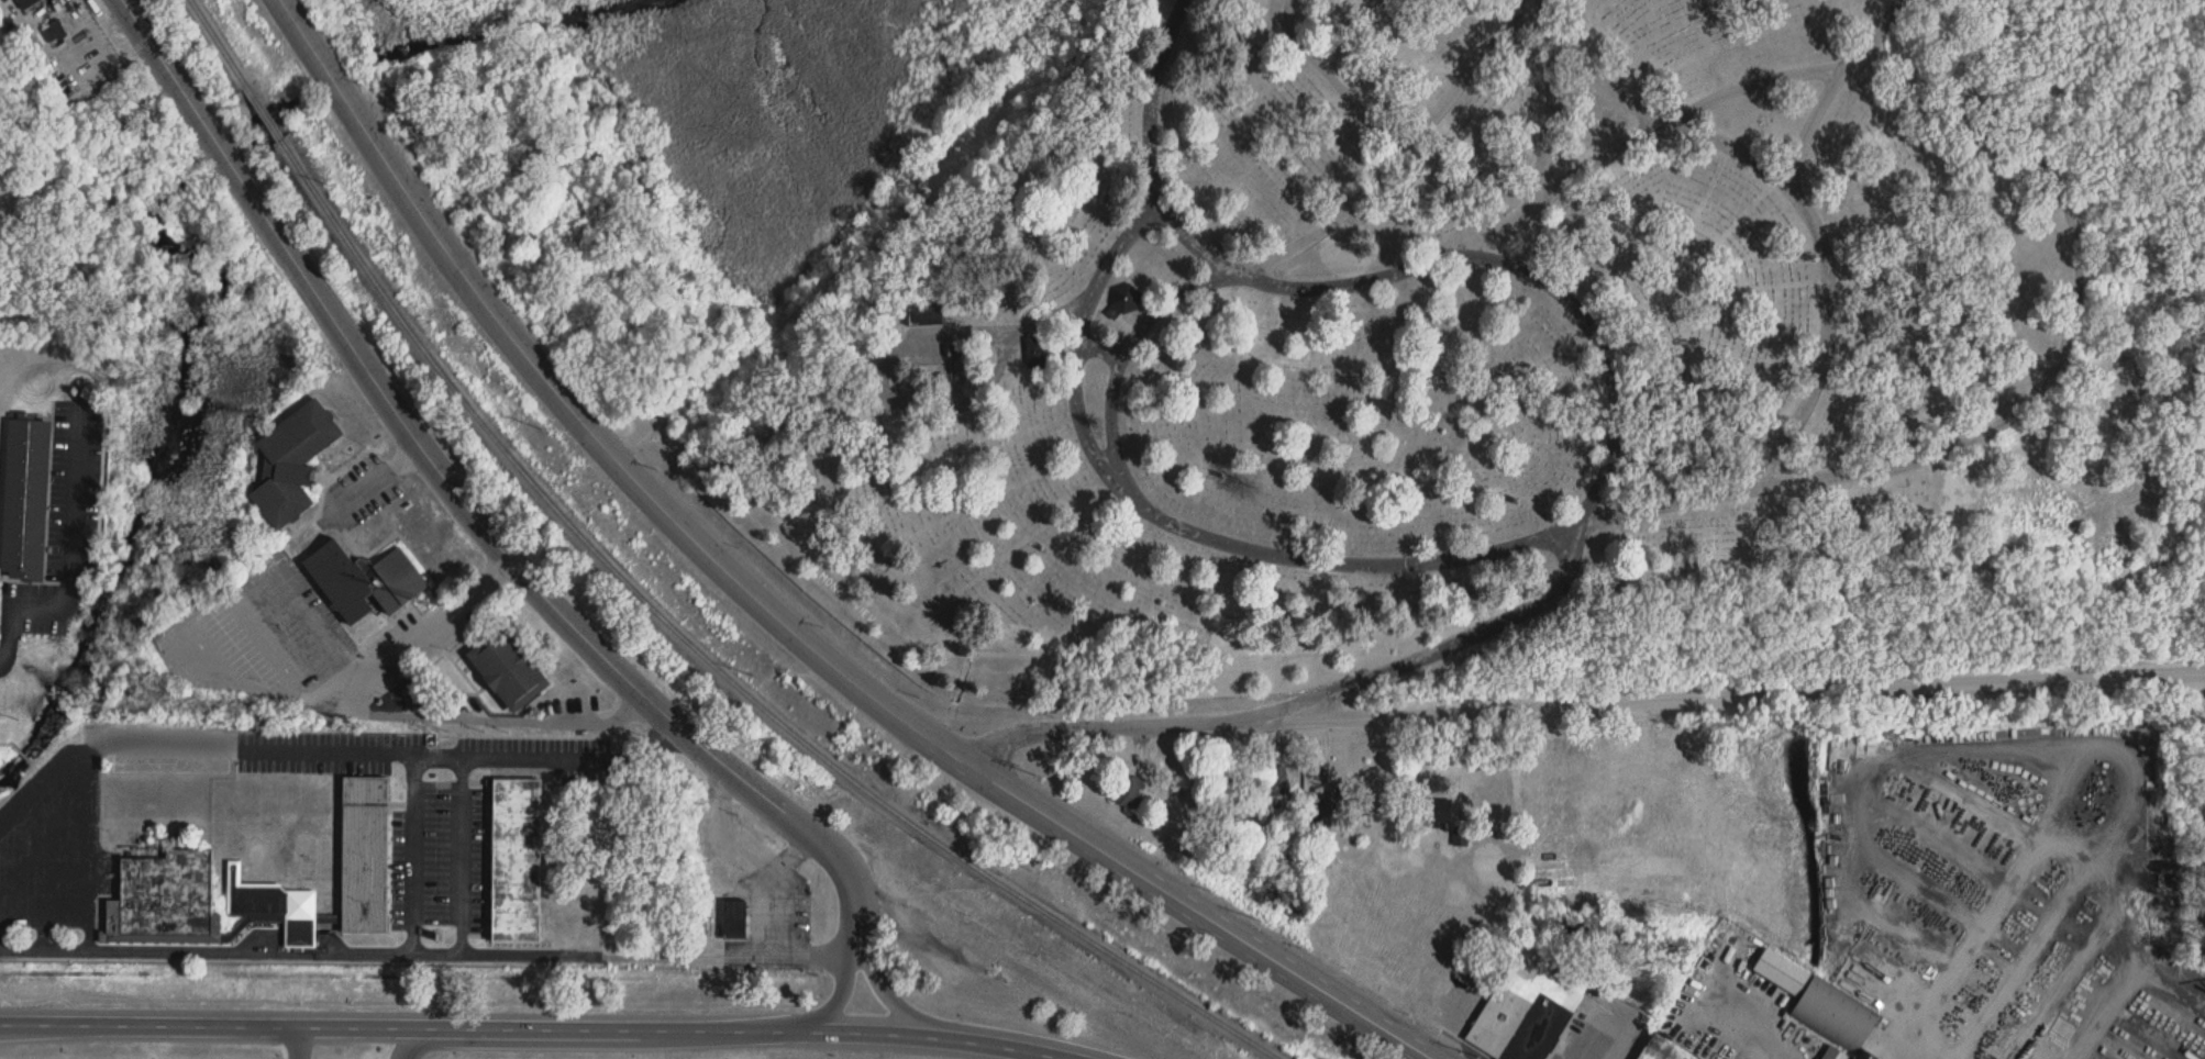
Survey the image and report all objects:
building: (27, 3)
river: (491, 27)
road: (1884, 31)
building: (52, 32)
railway: (217, 43)
river: (334, 78)
road: (1336, 81)
road: (1153, 99)
road: (1696, 110)
railway: (263, 114)
river: (282, 116)
road: (1548, 141)
road: (2030, 146)
road: (1624, 152)
river: (221, 159)
road: (1296, 248)
building: (1127, 299)
building: (924, 314)
park: (1544, 344)
road: (896, 350)
building: (1037, 354)
building: (955, 365)
building: (291, 462)
river: (157, 470)
road: (375, 477)
building: (25, 495)
road: (465, 503)
road: (1584, 514)
road: (1508, 549)
road: (75, 562)
building: (363, 582)
road: (296, 598)
road: (197, 610)
road: (778, 614)
road: (413, 633)
railway: (718, 666)
building: (507, 669)
road: (1583, 699)
road: (490, 717)
road: (253, 747)
road: (506, 751)
building: (1279, 781)
building: (1127, 793)
building: (1329, 812)
building: (1438, 812)
road: (463, 852)
building: (514, 861)
building: (364, 863)
building: (164, 902)
building: (733, 921)
road: (430, 955)
building: (1781, 972)
building: (1528, 1007)
road: (818, 1014)
building: (1835, 1015)
road: (430, 1025)
road: (977, 1026)
road: (1742, 1035)
road: (292, 1036)
road: (1595, 1038)
road: (539, 1039)
road: (966, 1039)
building: (1675, 1052)
building: (1835, 1054)
road: (1899, 1055)

